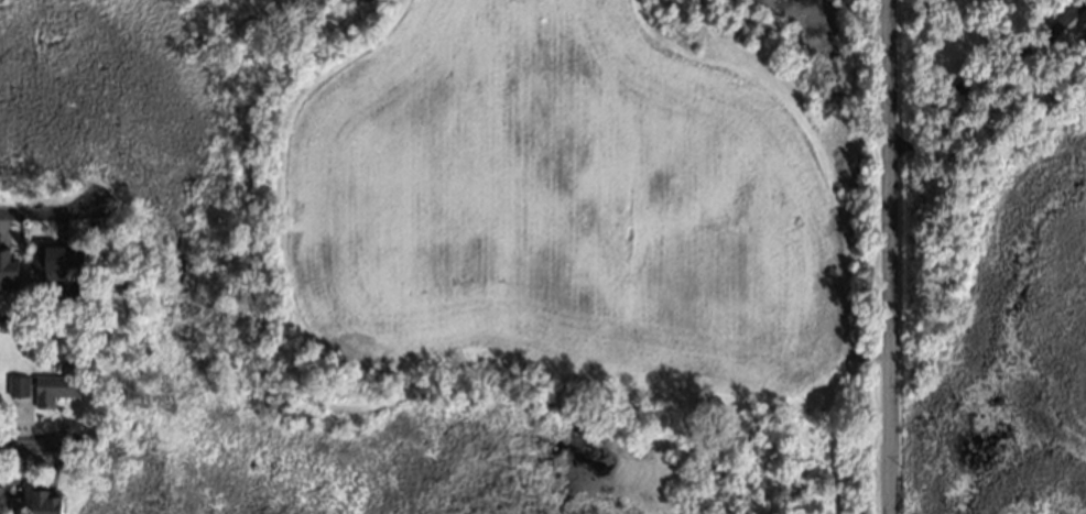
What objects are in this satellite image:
road: (980, 81)
road: (40, 214)
road: (879, 256)
building: (54, 259)
building: (7, 267)
building: (54, 292)
building: (69, 308)
building: (18, 386)
building: (53, 387)
road: (21, 444)
building: (8, 499)
building: (44, 501)

